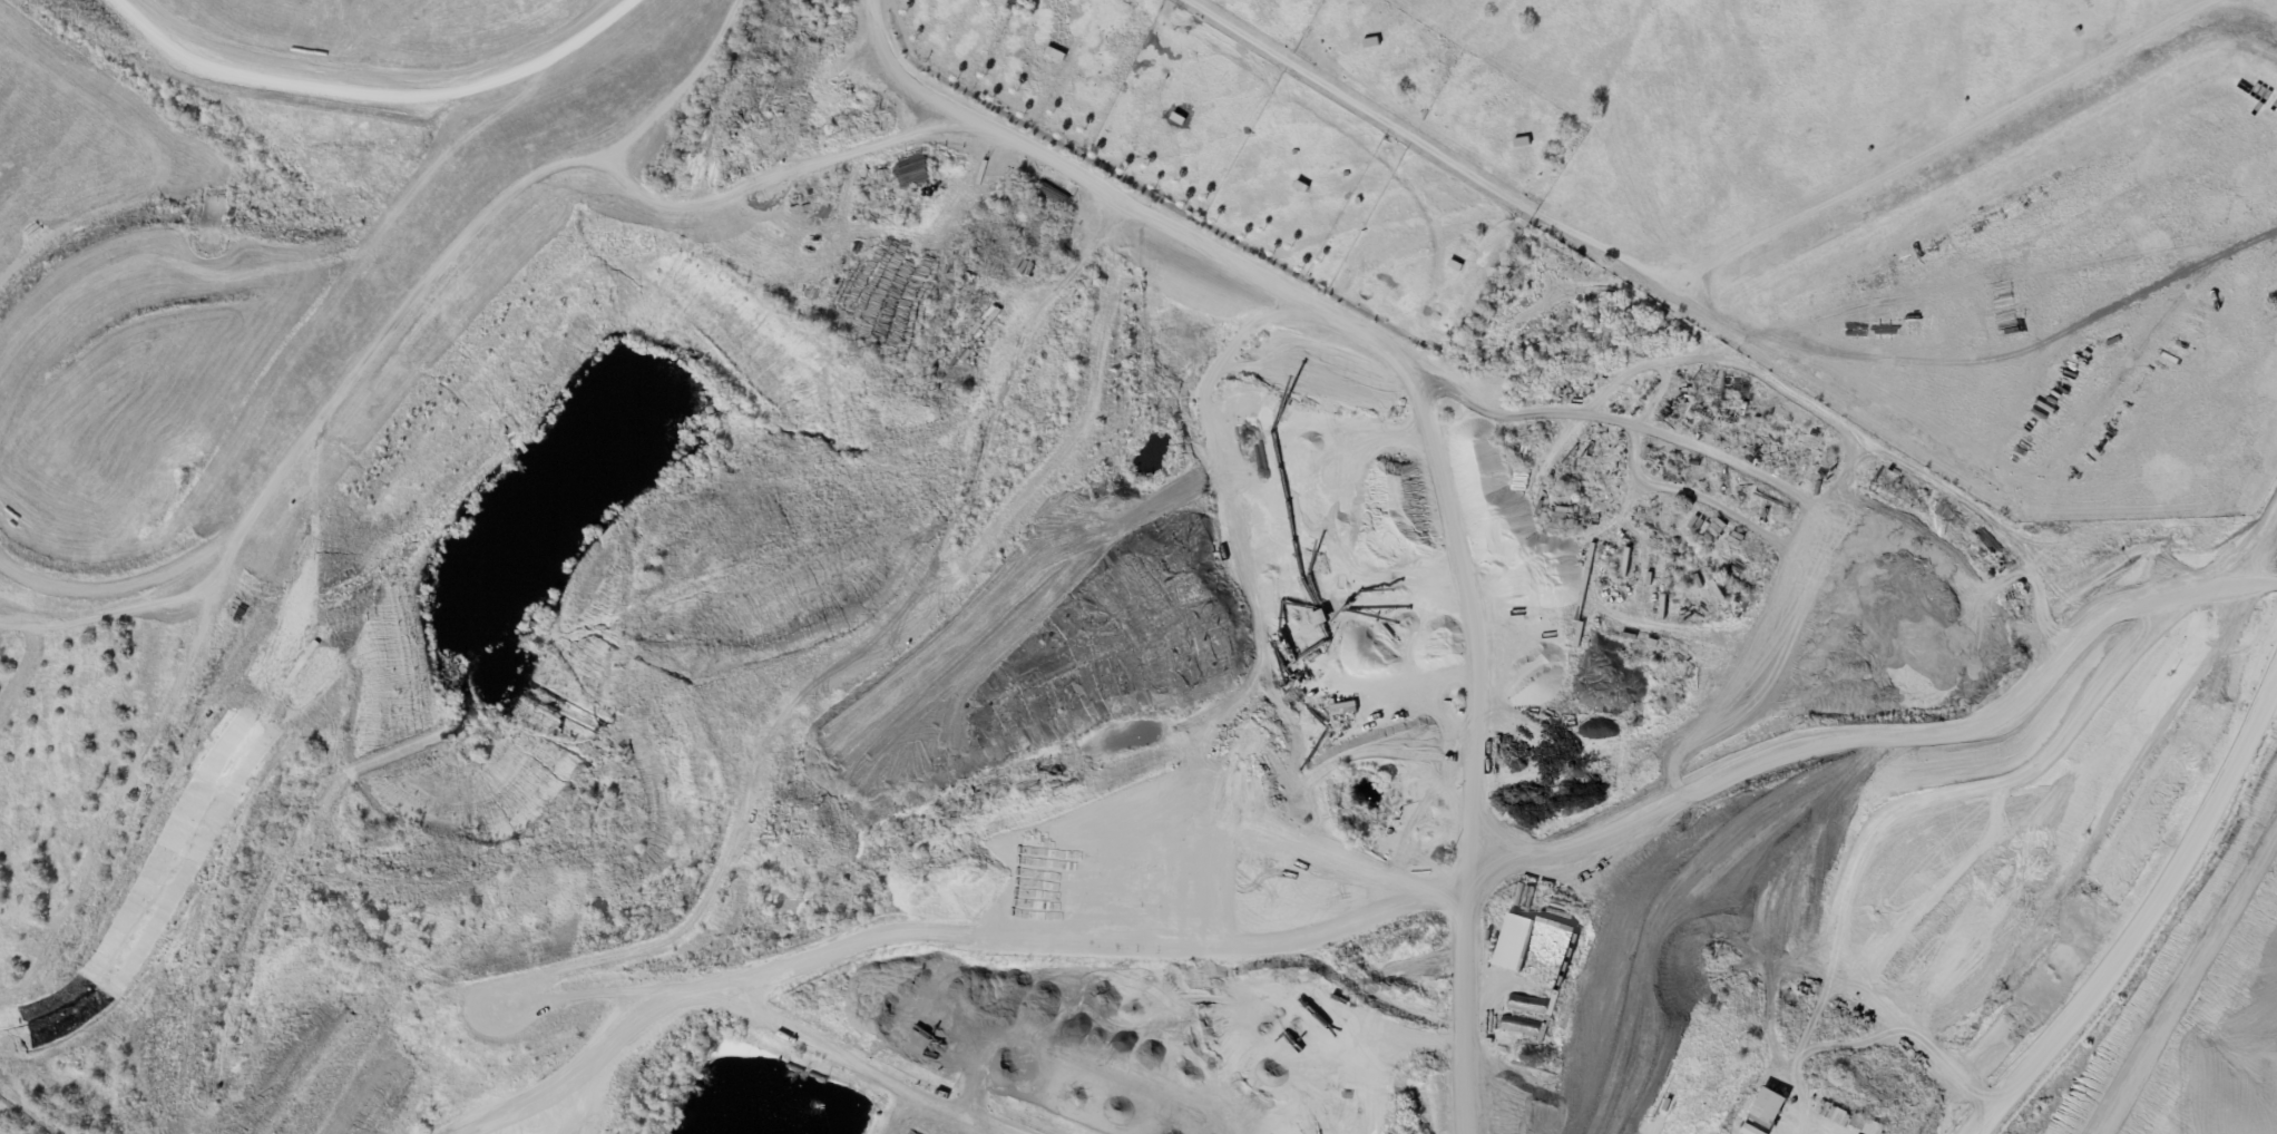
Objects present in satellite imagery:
building: (1053, 53)
road: (379, 62)
building: (1177, 120)
building: (1299, 187)
road: (1694, 253)
building: (1455, 265)
building: (1009, 315)
building: (1477, 332)
road: (1426, 420)
building: (1625, 561)
building: (1716, 590)
building: (1662, 607)
building: (1368, 678)
building: (1428, 866)
road: (1767, 936)
building: (1768, 1105)
building: (1834, 1115)
landfill: (2012, 1117)
building: (1845, 1121)
building: (1865, 1125)
building: (1748, 1130)

